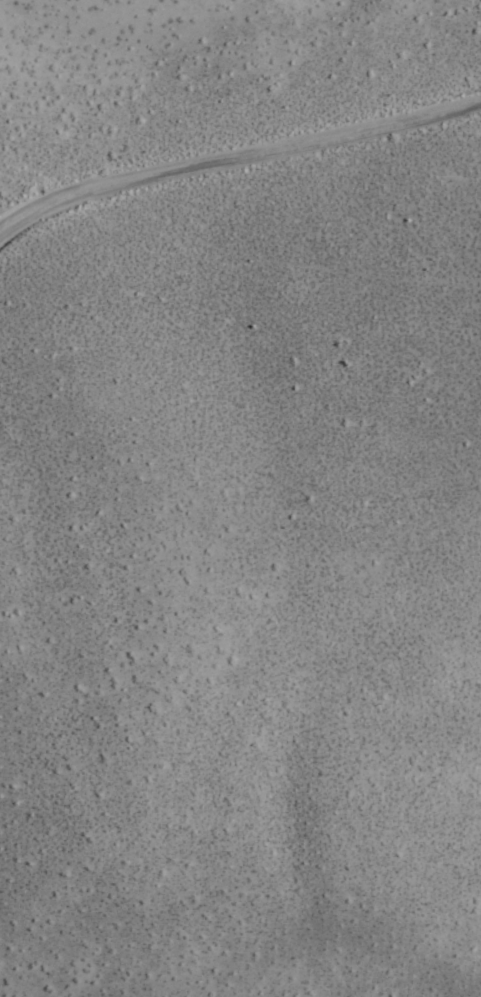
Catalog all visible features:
road: (238, 156)
road: (8, 224)

